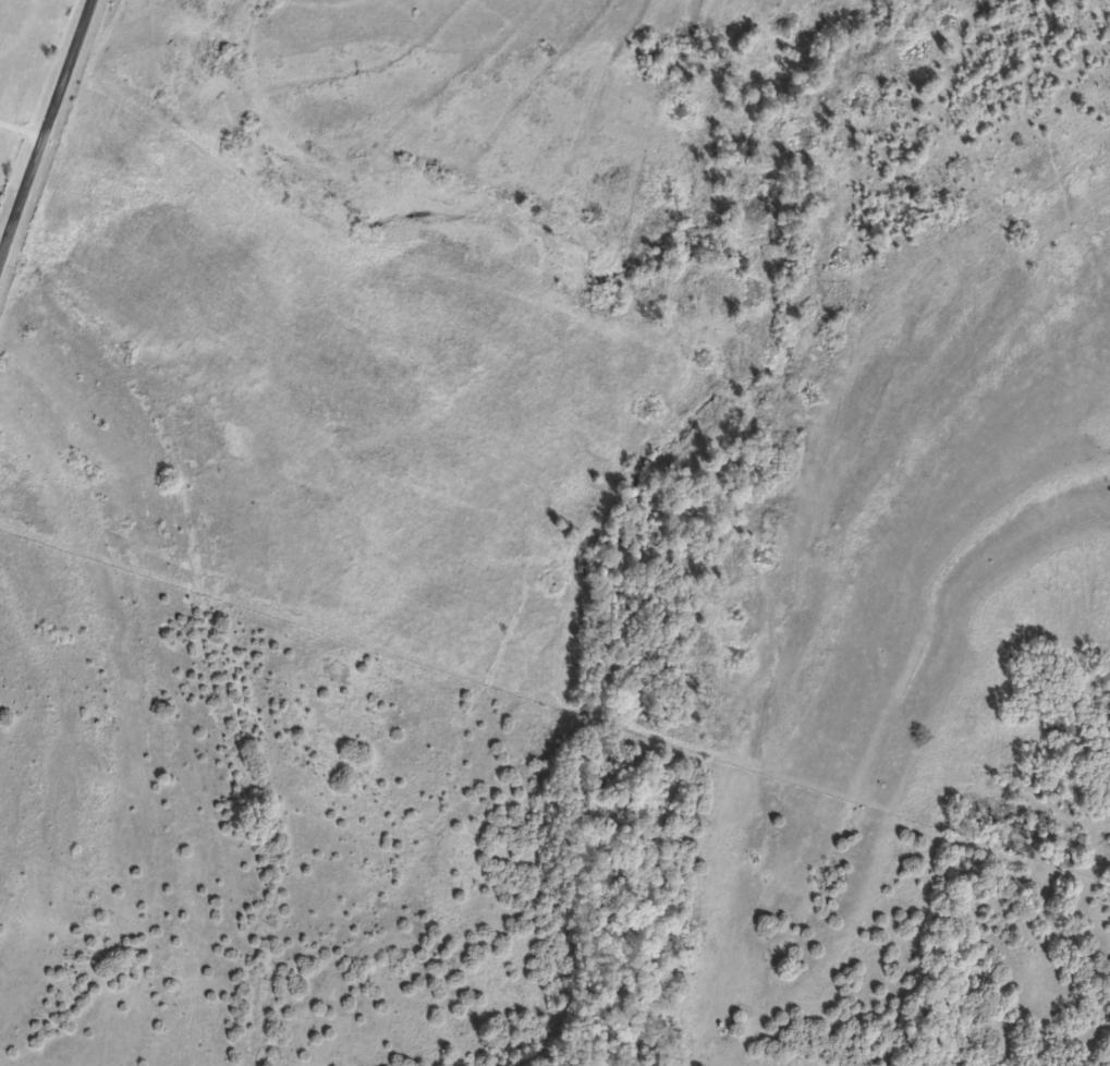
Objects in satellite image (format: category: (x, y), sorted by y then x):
road: (44, 128)
road: (20, 130)

